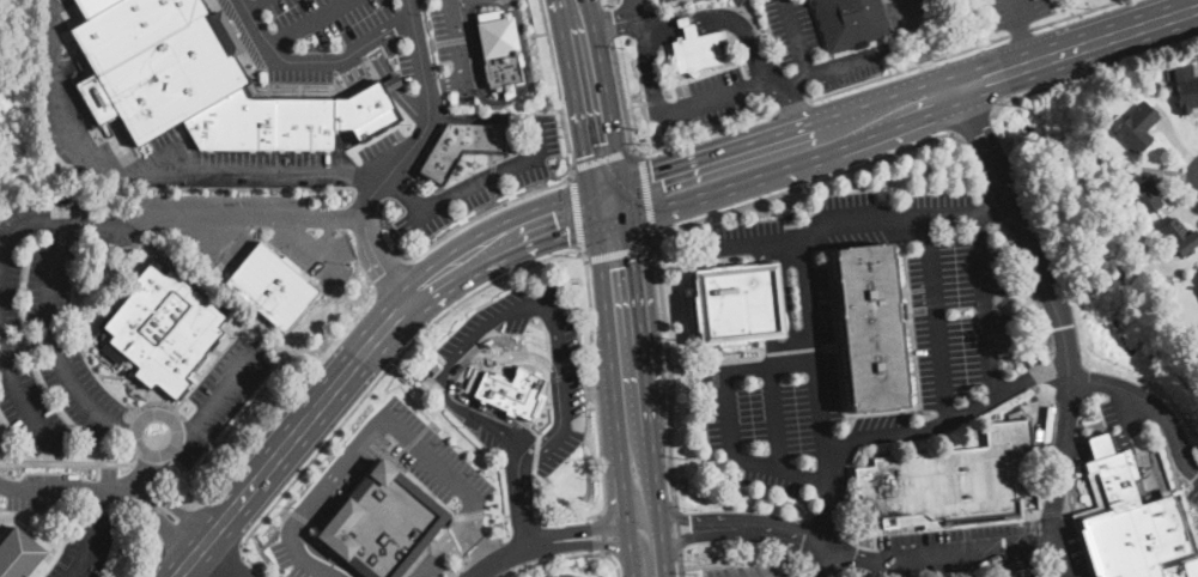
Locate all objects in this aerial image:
road: (500, 1)
parking lot: (664, 1)
road: (603, 2)
road: (248, 4)
road: (472, 10)
parking lot: (1016, 11)
road: (636, 12)
parking lot: (908, 13)
road: (1074, 13)
road: (1017, 14)
road: (614, 22)
road: (680, 22)
building: (851, 22)
road: (308, 23)
road: (607, 23)
road: (531, 24)
road: (914, 26)
building: (687, 28)
parking lot: (454, 29)
road: (1020, 30)
parking lot: (321, 36)
road: (796, 36)
road: (457, 38)
road: (1028, 44)
parking lot: (814, 45)
road: (1072, 47)
building: (499, 49)
building: (698, 51)
road: (315, 60)
road: (470, 62)
road: (761, 62)
road: (827, 66)
road: (908, 66)
road: (647, 68)
road: (935, 71)
road: (1089, 71)
road: (706, 73)
road: (527, 74)
building: (201, 81)
road: (558, 83)
building: (393, 84)
road: (393, 85)
building: (1156, 85)
building: (1186, 87)
road: (717, 93)
building: (454, 96)
road: (622, 98)
road: (656, 99)
parking lot: (707, 102)
road: (591, 103)
road: (636, 103)
road: (792, 104)
road: (969, 117)
building: (1138, 127)
road: (709, 132)
road: (774, 135)
building: (466, 146)
traffic signals: (601, 146)
road: (401, 157)
road: (603, 157)
road: (971, 157)
road: (516, 164)
road: (148, 166)
road: (786, 166)
traffic signals: (656, 172)
parking lot: (488, 176)
road: (802, 183)
road: (647, 194)
building: (1147, 196)
road: (993, 202)
road: (989, 207)
road: (226, 209)
road: (492, 209)
road: (577, 213)
traffic signals: (564, 218)
road: (36, 219)
parking lot: (852, 219)
parking lot: (87, 227)
road: (518, 232)
road: (326, 236)
road: (755, 237)
building: (1184, 239)
road: (305, 242)
parking lot: (315, 249)
road: (803, 251)
road: (621, 253)
parking lot: (5, 256)
traffic signals: (620, 262)
building: (159, 265)
building: (1136, 268)
road: (390, 277)
road: (310, 278)
road: (1029, 285)
building: (269, 286)
parking lot: (48, 293)
building: (1157, 299)
parking lot: (815, 302)
road: (987, 302)
building: (738, 303)
parking lot: (956, 303)
road: (1053, 303)
road: (394, 315)
road: (937, 317)
road: (486, 322)
building: (875, 327)
road: (244, 328)
building: (164, 329)
road: (627, 334)
road: (75, 335)
road: (493, 338)
road: (25, 347)
road: (832, 347)
road: (795, 351)
road: (55, 352)
road: (491, 354)
road: (718, 362)
road: (670, 371)
road: (372, 382)
road: (397, 384)
parking lot: (80, 393)
parking lot: (221, 393)
building: (507, 393)
road: (285, 400)
road: (213, 401)
road: (1150, 402)
road: (22, 403)
road: (156, 405)
road: (597, 411)
parking lot: (32, 413)
road: (883, 414)
road: (724, 415)
road: (776, 415)
road: (381, 417)
parking lot: (778, 419)
parking lot: (890, 426)
road: (902, 429)
road: (197, 430)
road: (411, 441)
road: (225, 449)
parking lot: (427, 453)
road: (147, 462)
road: (66, 463)
road: (266, 467)
road: (146, 469)
parking lot: (339, 475)
building: (686, 480)
road: (182, 484)
building: (948, 484)
road: (48, 486)
road: (652, 496)
road: (154, 500)
road: (524, 506)
road: (69, 514)
road: (298, 514)
road: (631, 520)
building: (384, 522)
road: (180, 524)
road: (492, 524)
road: (742, 526)
building: (1135, 526)
road: (525, 527)
road: (276, 529)
road: (677, 530)
road: (86, 533)
road: (601, 533)
road: (504, 536)
road: (547, 542)
road: (479, 545)
parking lot: (83, 546)
road: (481, 549)
parking lot: (299, 551)
road: (645, 551)
parking lot: (950, 552)
road: (321, 553)
road: (956, 553)
building: (18, 554)
road: (264, 554)
road: (662, 554)
road: (555, 557)
road: (752, 559)
road: (220, 560)
road: (150, 561)
road: (823, 561)
road: (614, 563)
road: (679, 565)
road: (233, 566)
road: (455, 569)
road: (734, 569)
parking lot: (747, 570)
road: (495, 571)
road: (503, 575)
parking lot: (555, 575)

